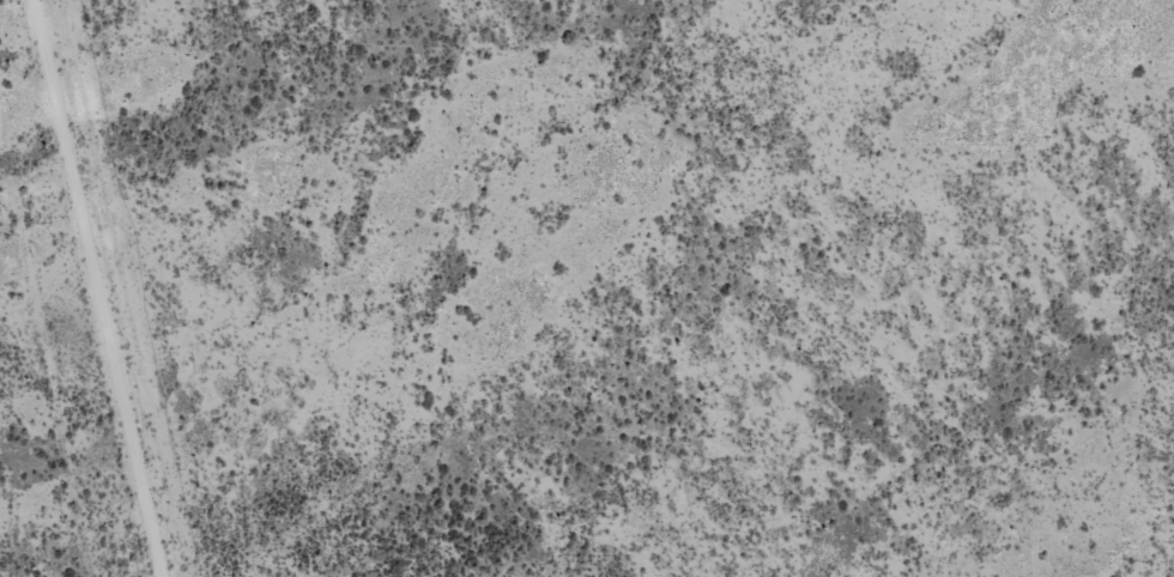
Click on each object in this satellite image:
road: (38, 368)

